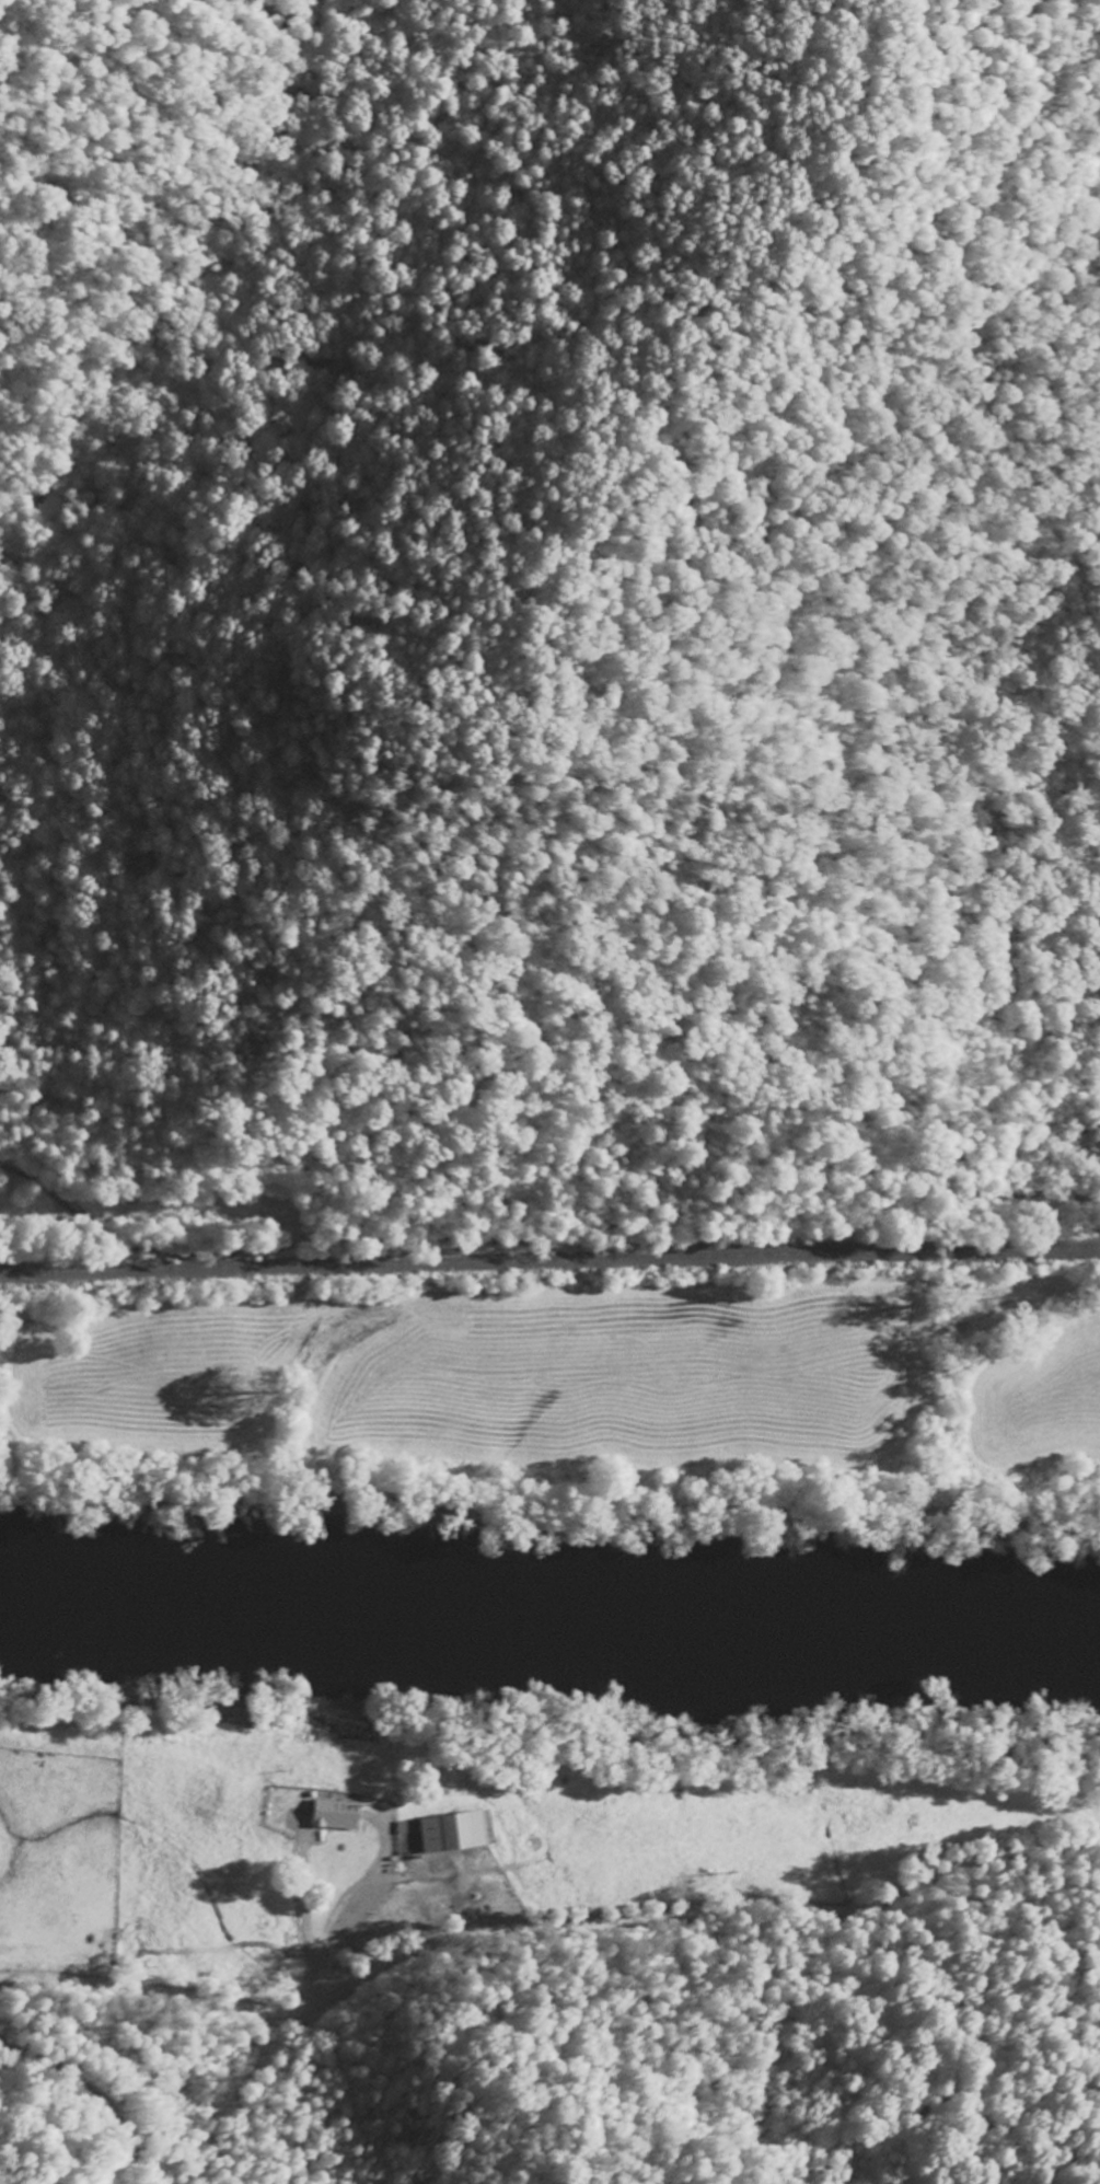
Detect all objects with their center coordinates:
railway: (549, 1285)
river: (549, 1608)
building: (331, 1814)
building: (450, 1830)
road: (543, 1926)
road: (222, 2103)

